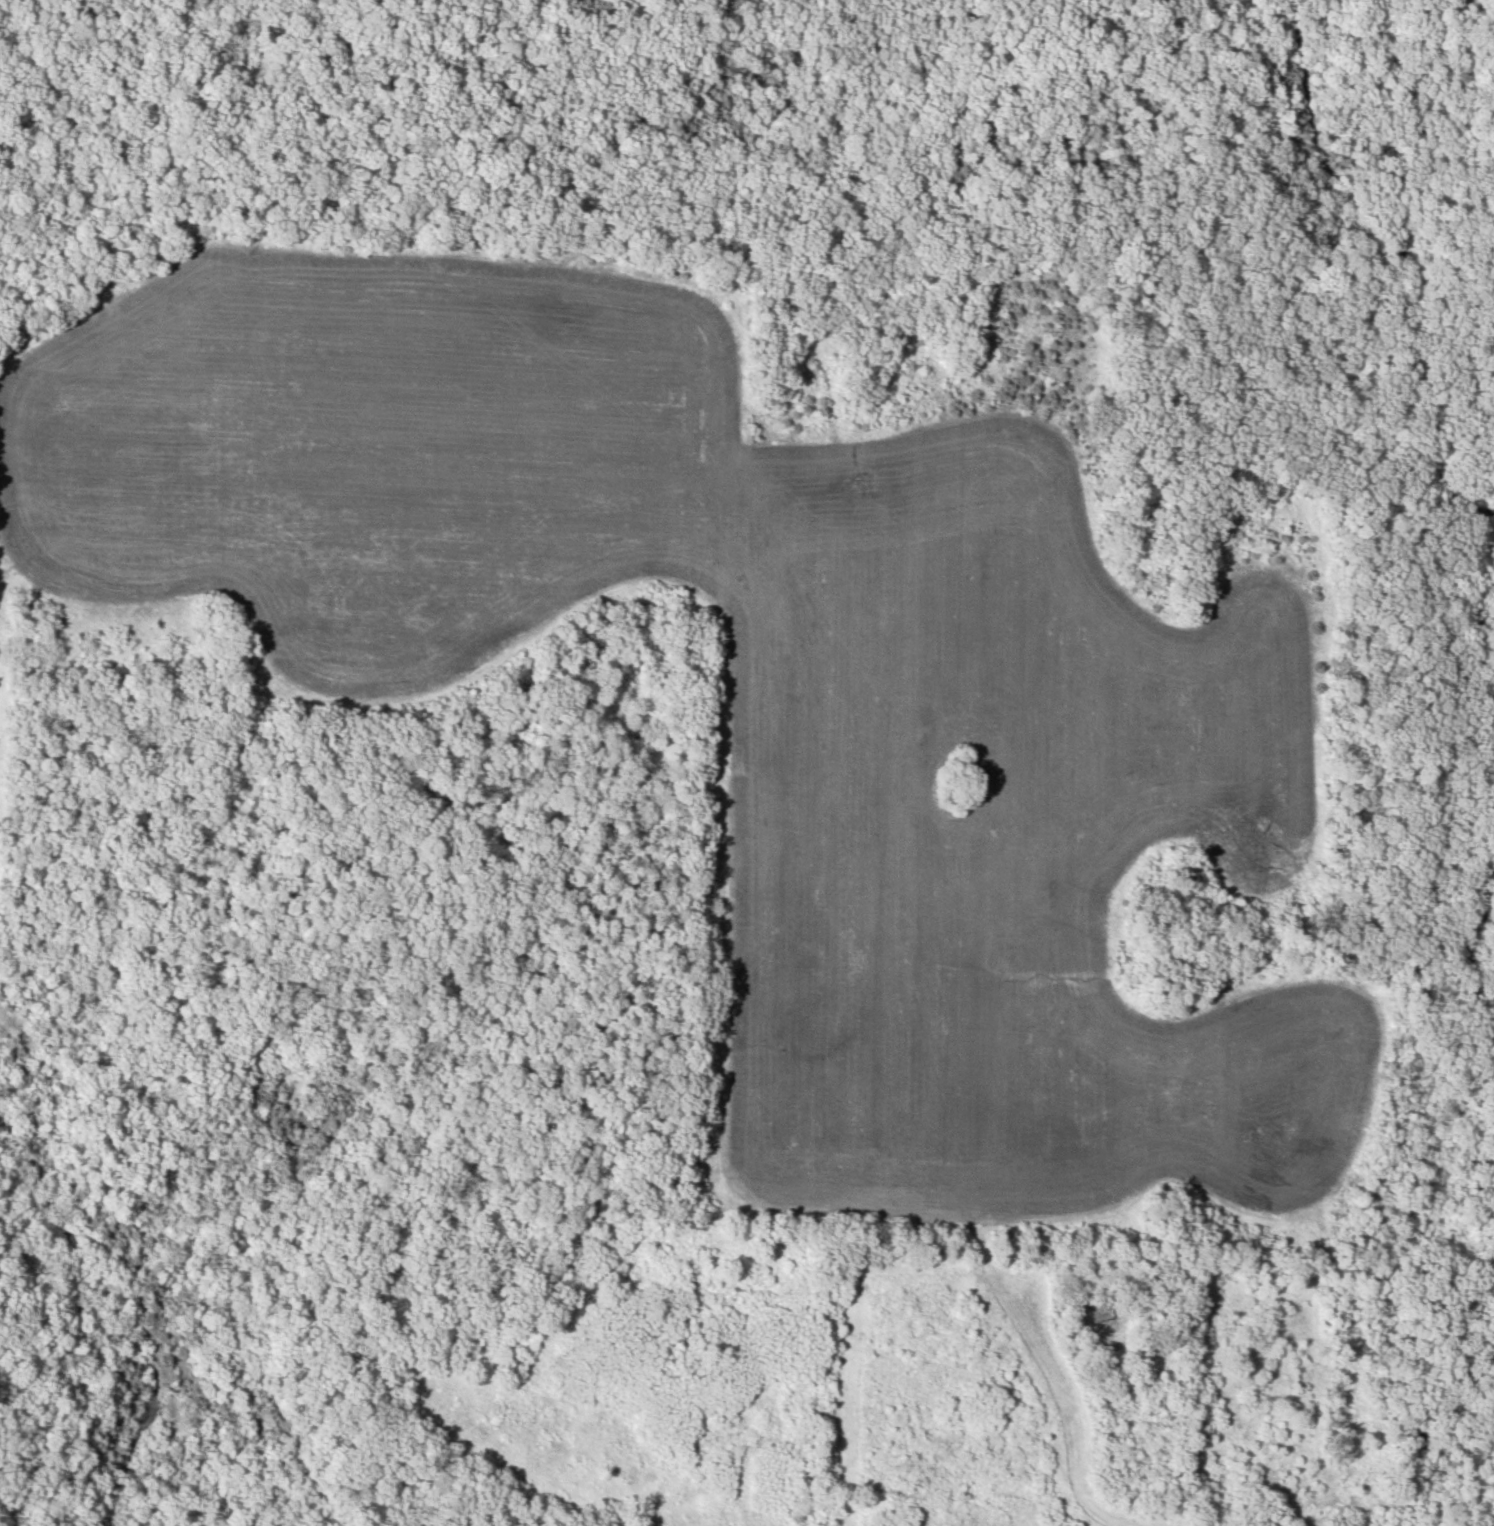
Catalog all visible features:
park: (377, 108)
road: (454, 207)
park: (762, 749)
road: (1, 1021)
road: (142, 1249)
park: (78, 1375)
road: (1066, 1379)

